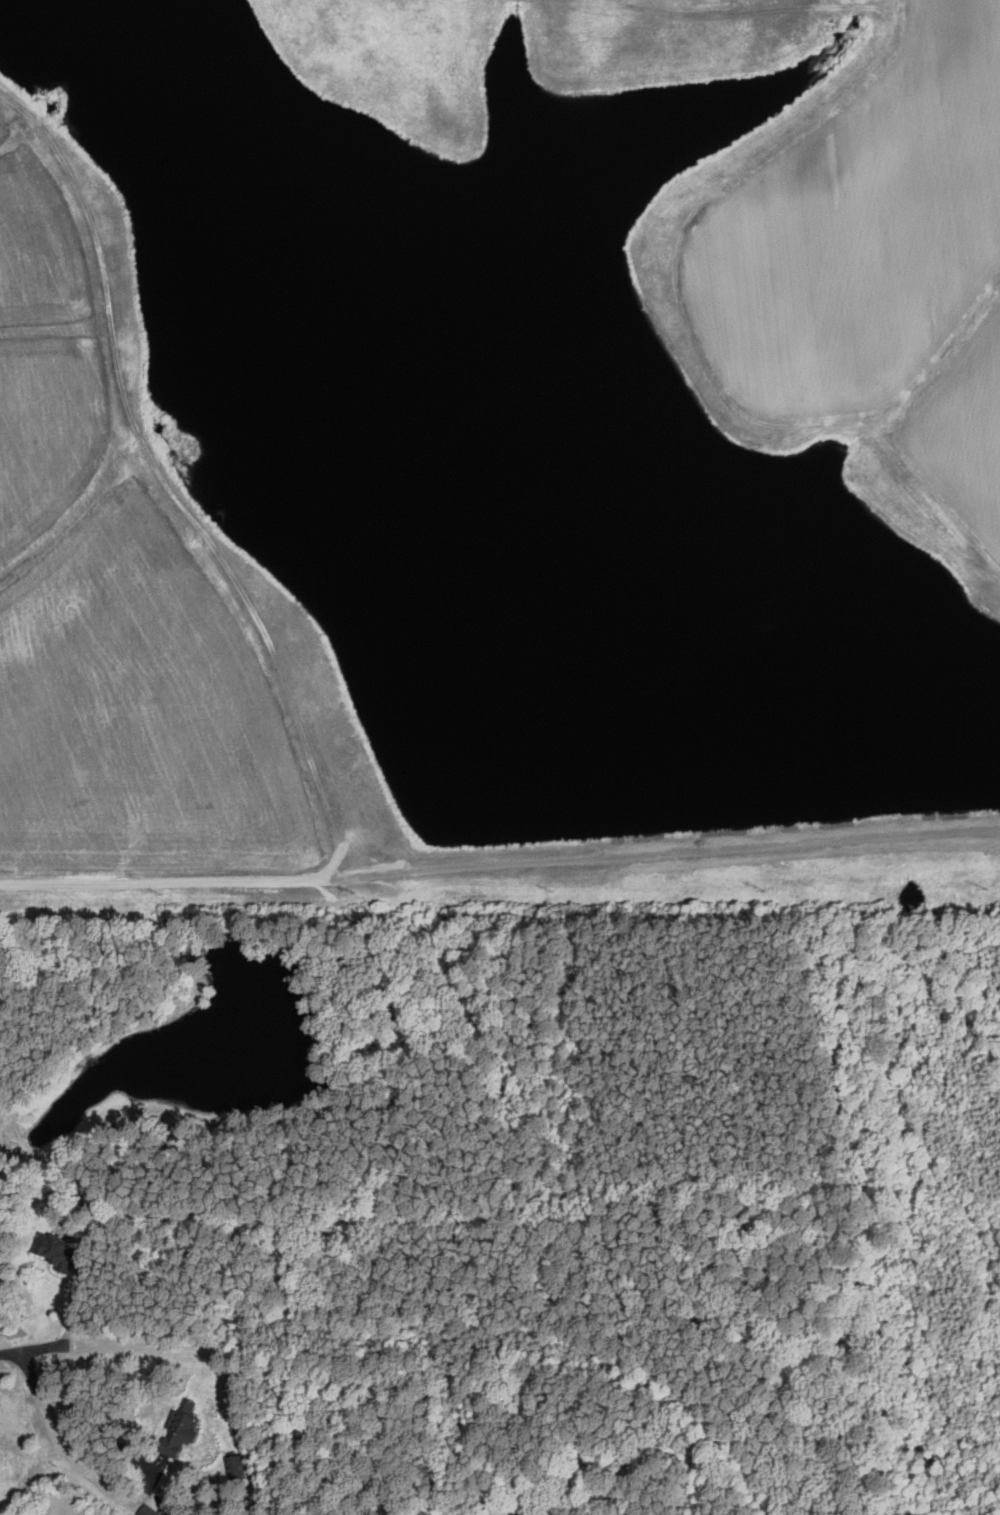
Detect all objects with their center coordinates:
building: (53, 1247)
road: (73, 1320)
road: (433, 1344)
road: (14, 1355)
building: (181, 1430)
road: (59, 1447)
building: (5, 1463)
building: (241, 1465)

